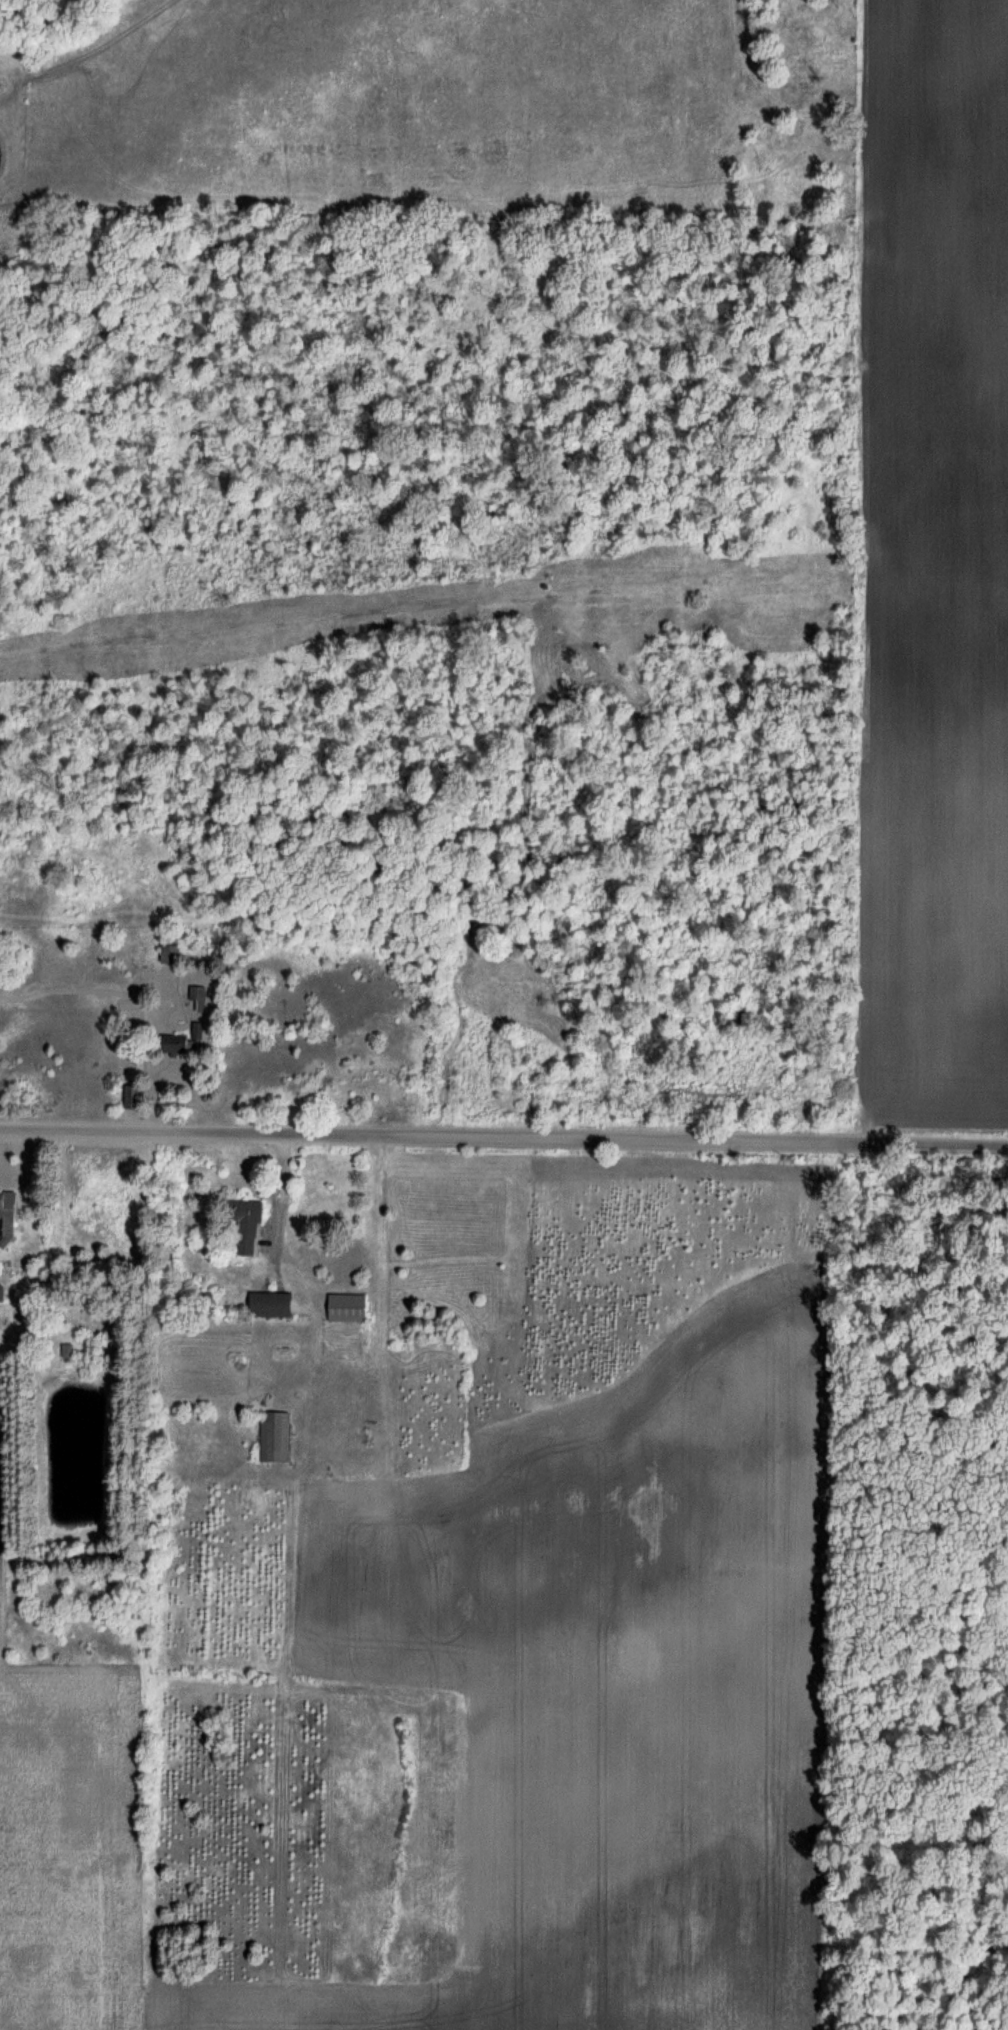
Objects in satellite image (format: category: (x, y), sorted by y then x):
building: (175, 953)
building: (202, 996)
building: (191, 1041)
building: (137, 1097)
road: (504, 1136)
building: (9, 1219)
building: (246, 1225)
building: (3, 1293)
building: (276, 1304)
building: (351, 1307)
building: (278, 1436)

